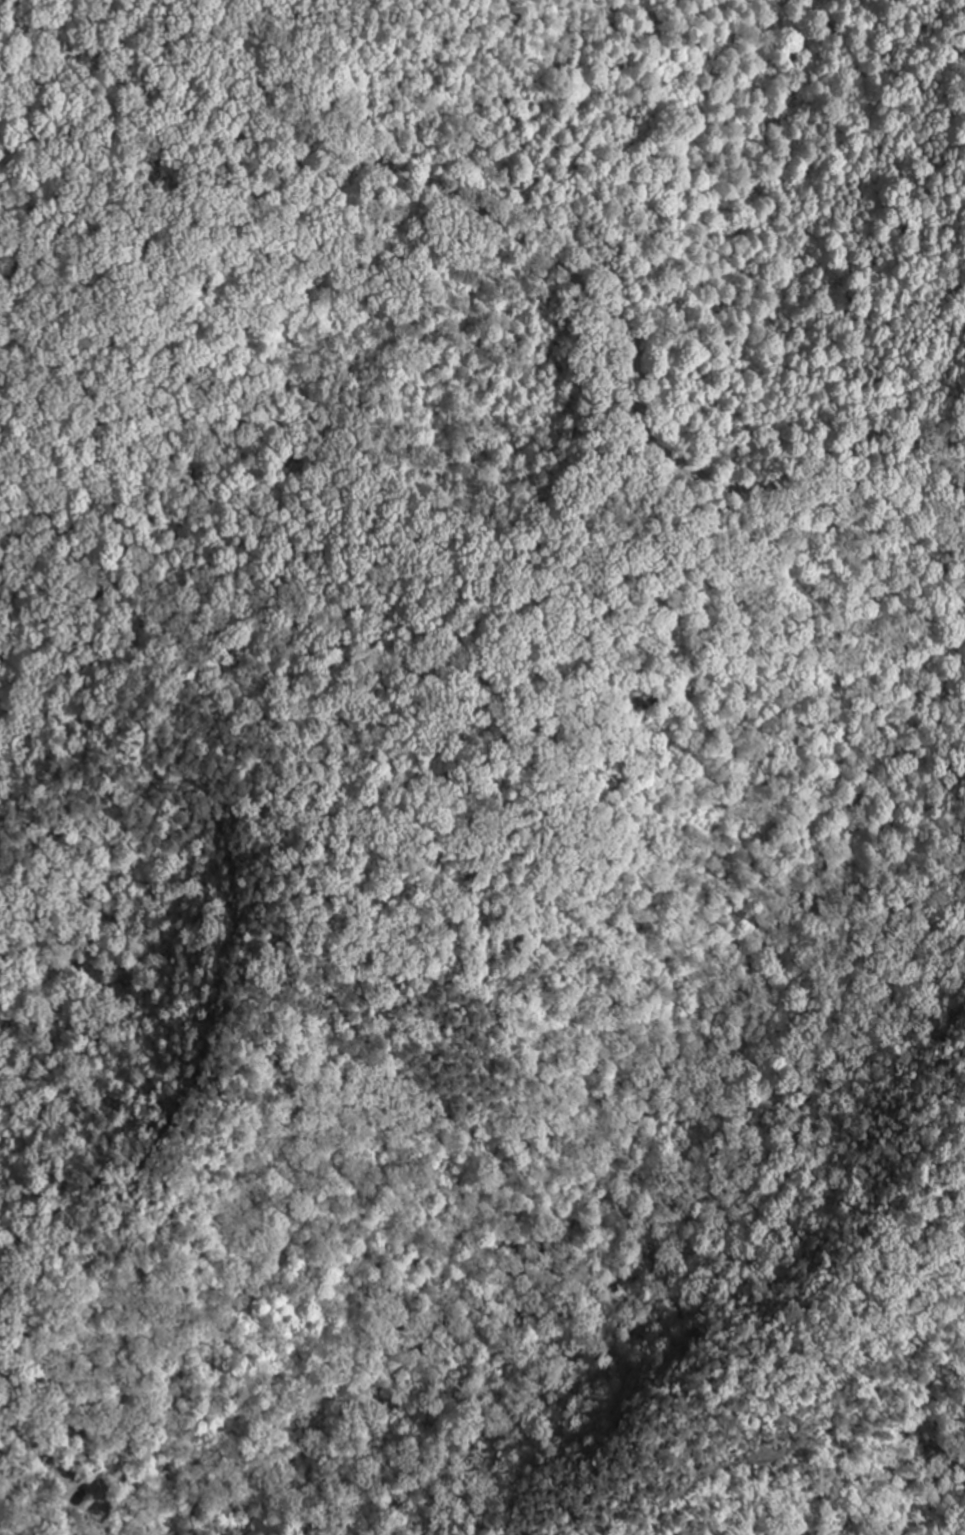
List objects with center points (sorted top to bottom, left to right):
road: (523, 243)

